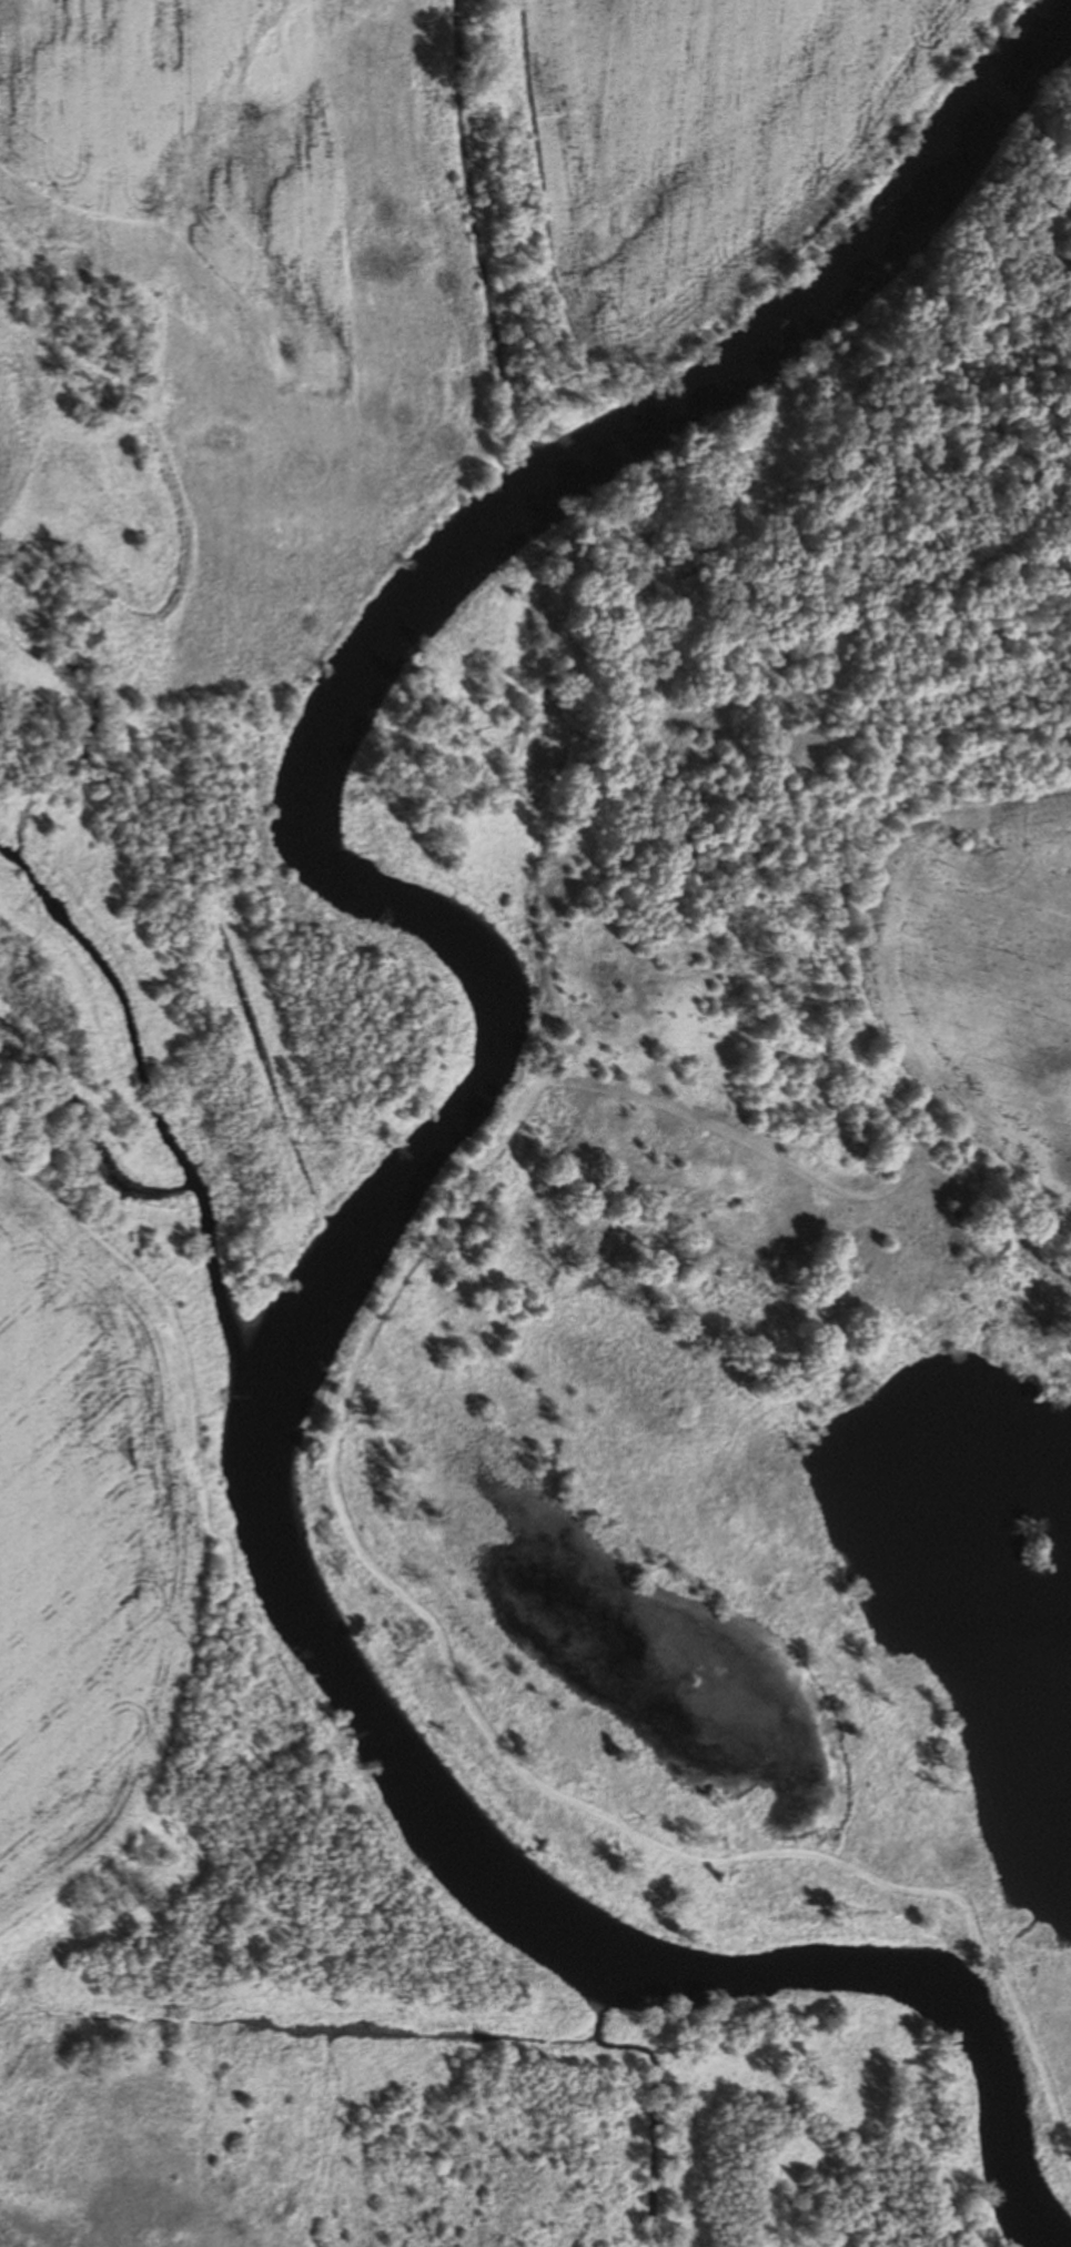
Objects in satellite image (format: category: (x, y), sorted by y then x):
river: (418, 1175)

